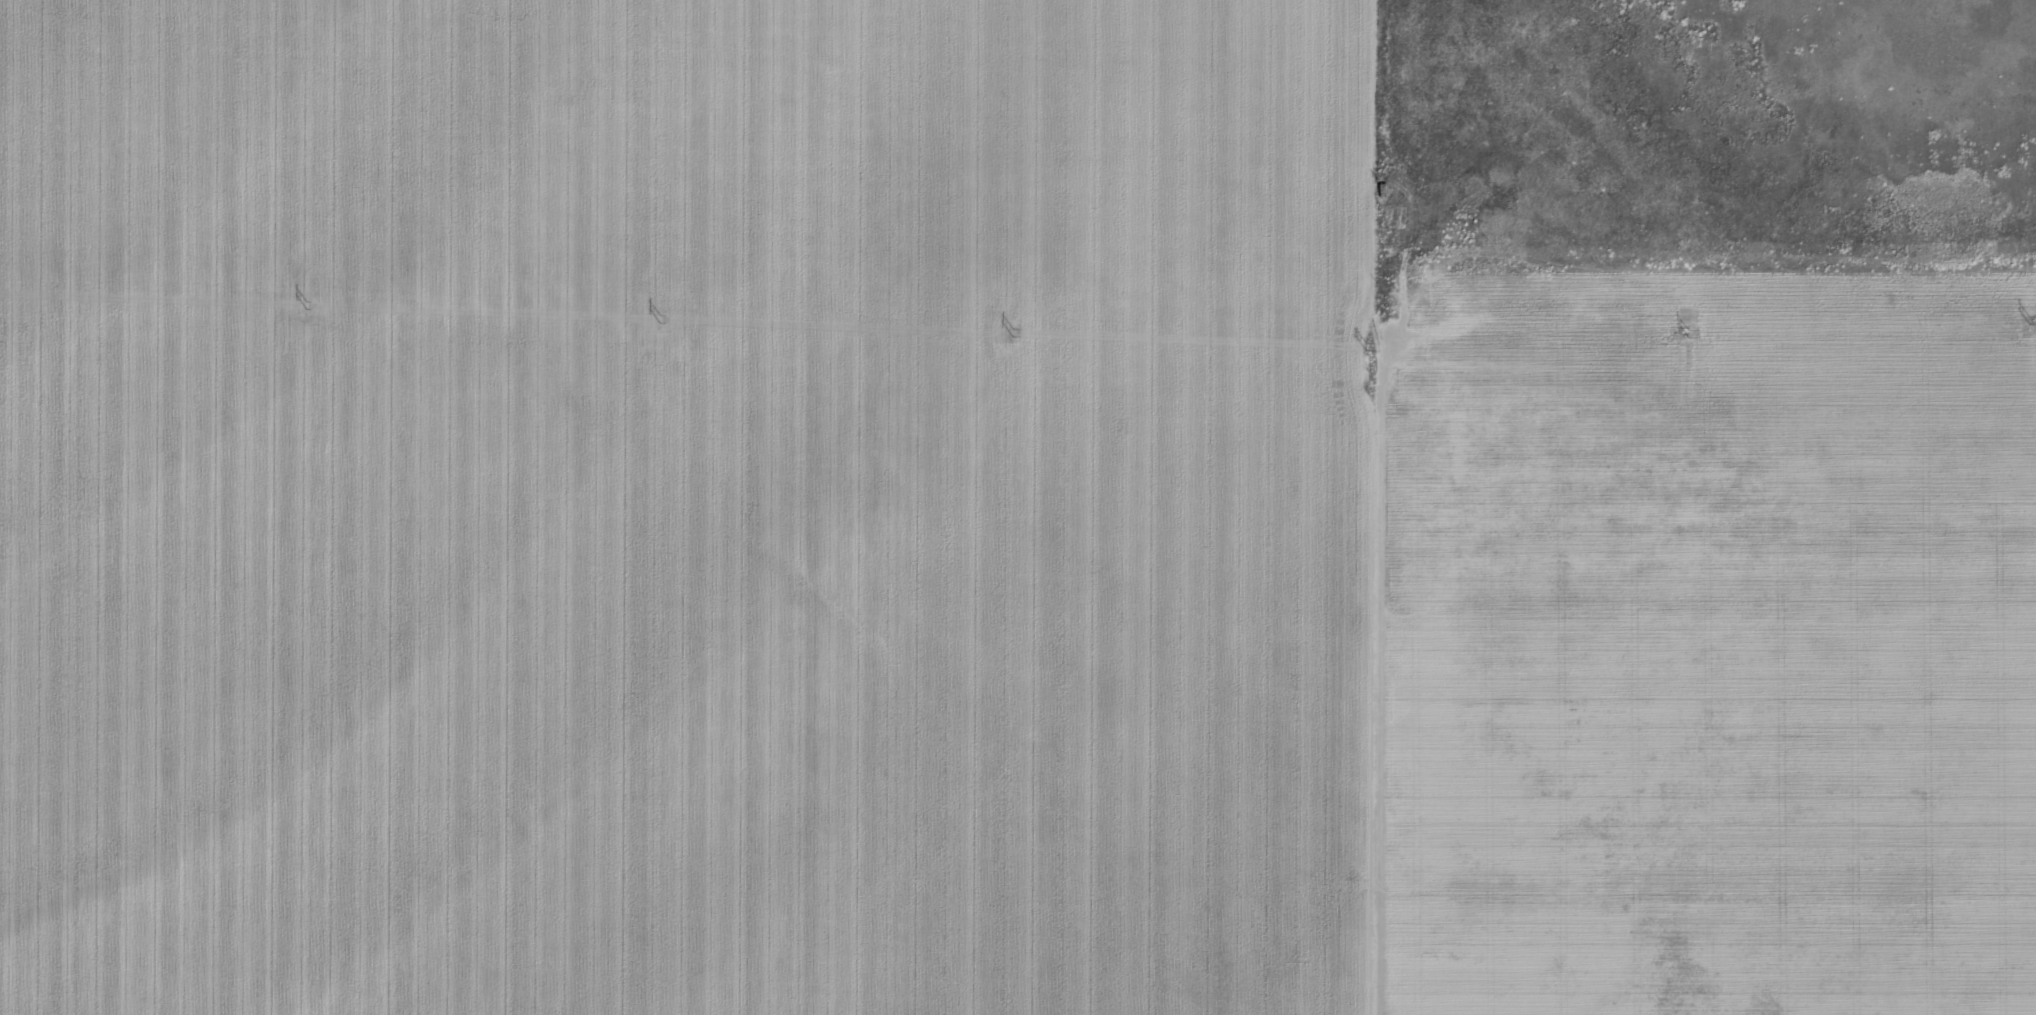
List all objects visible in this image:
power tower: (302, 299)
power tower: (653, 308)
power tower: (2026, 320)
power tower: (1008, 323)
power tower: (1684, 329)
power tower: (1360, 336)
road: (1340, 661)

